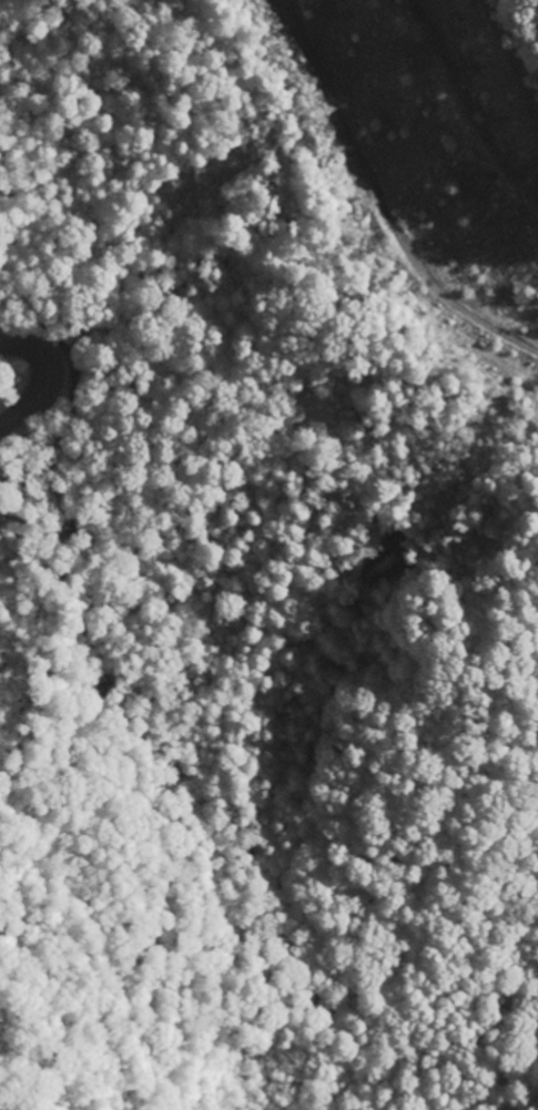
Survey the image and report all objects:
road: (49, 378)

